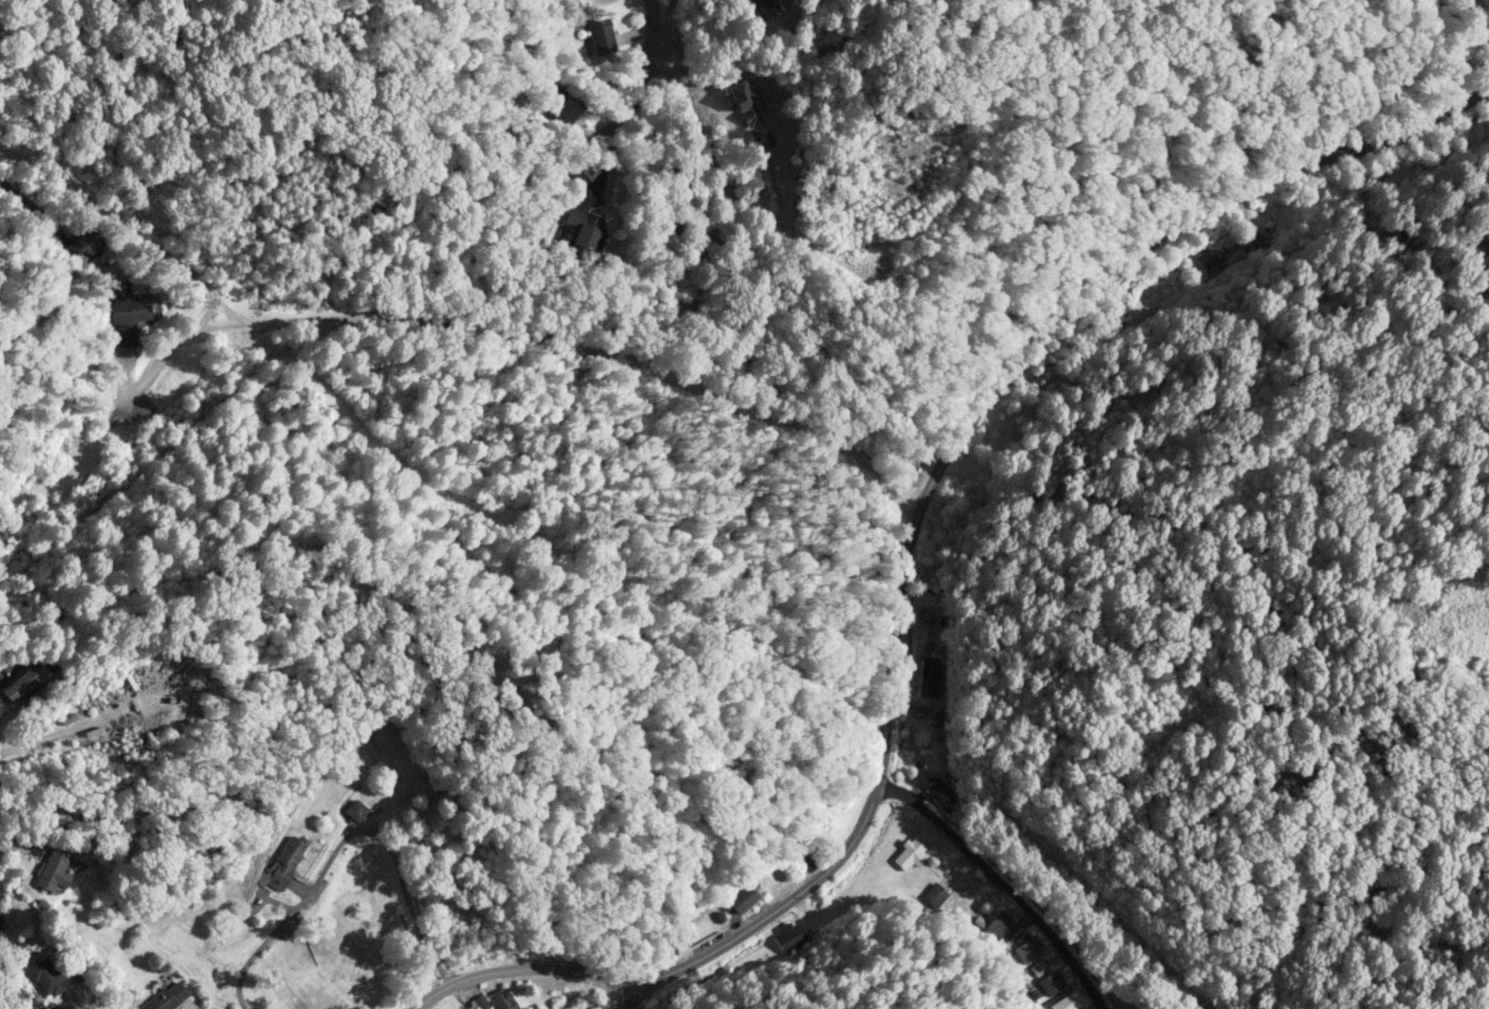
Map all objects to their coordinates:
building: (764, 8)
road: (655, 31)
building: (600, 36)
road: (1377, 80)
building: (743, 103)
building: (563, 106)
building: (580, 174)
road: (118, 230)
building: (581, 233)
building: (83, 245)
building: (1209, 256)
building: (126, 312)
road: (578, 353)
road: (904, 559)
building: (928, 677)
building: (20, 685)
building: (0, 712)
building: (934, 756)
building: (355, 810)
road: (346, 843)
building: (913, 850)
building: (283, 864)
building: (52, 870)
road: (1000, 886)
building: (934, 896)
building: (741, 899)
building: (997, 924)
building: (0, 931)
building: (789, 938)
building: (1027, 948)
building: (1038, 968)
building: (46, 976)
building: (1050, 983)
building: (166, 997)
road: (625, 998)
building: (502, 999)
building: (1067, 1001)
building: (480, 1002)

